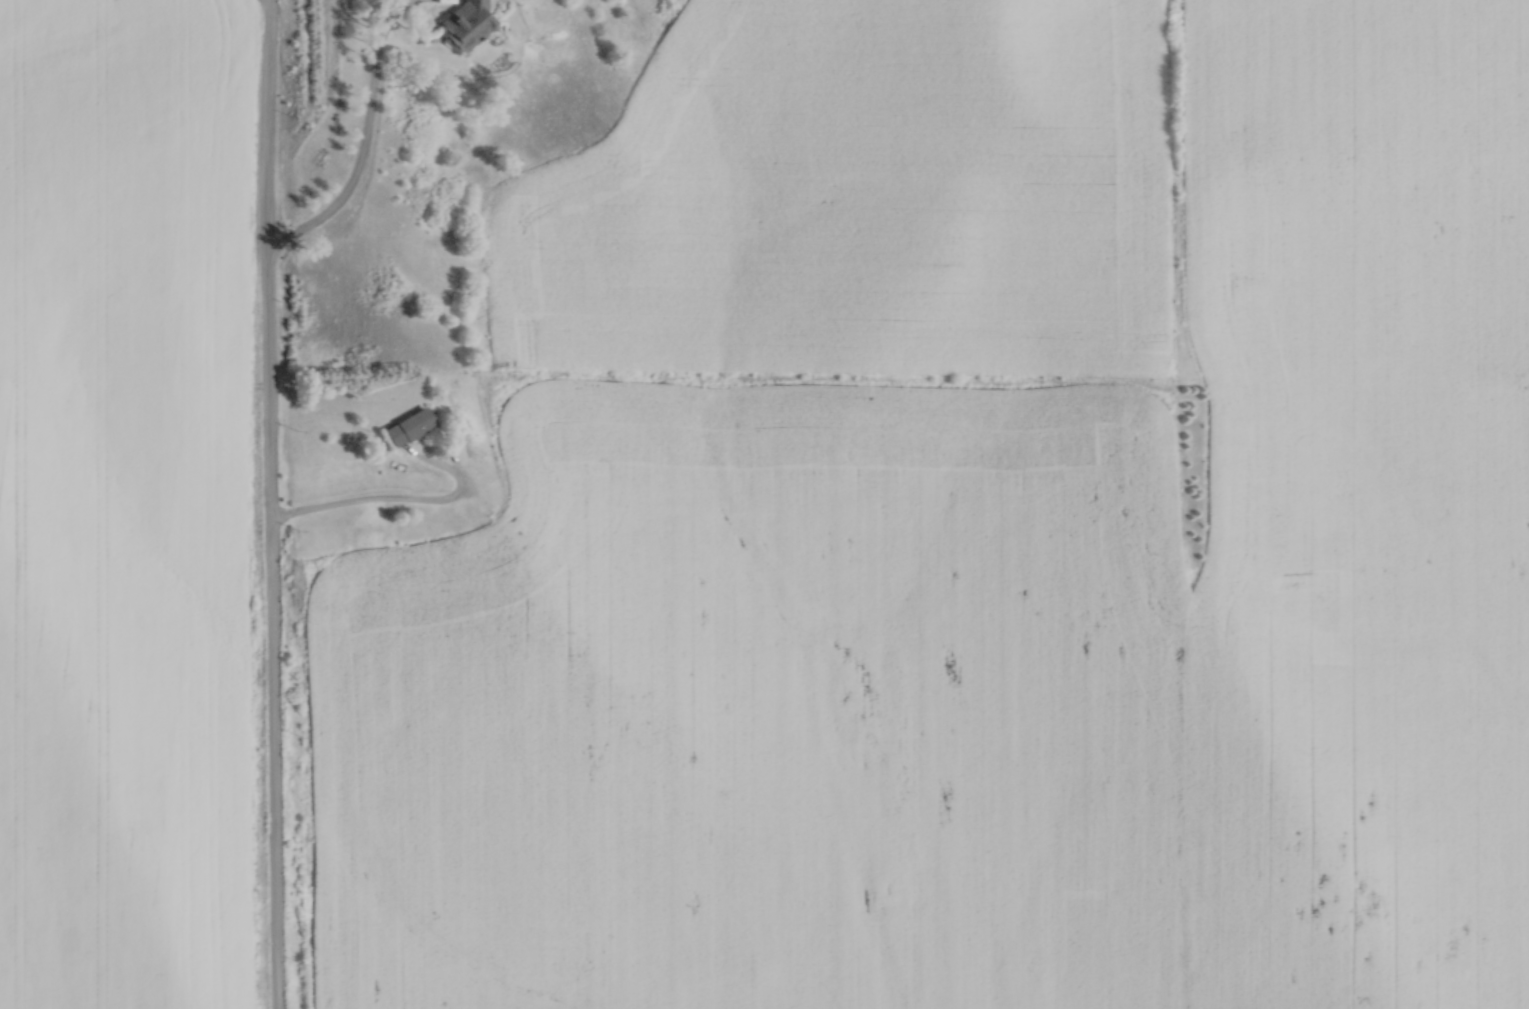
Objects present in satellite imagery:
building: (464, 20)
road: (365, 139)
building: (406, 424)
road: (398, 499)
road: (270, 504)
building: (366, 537)

